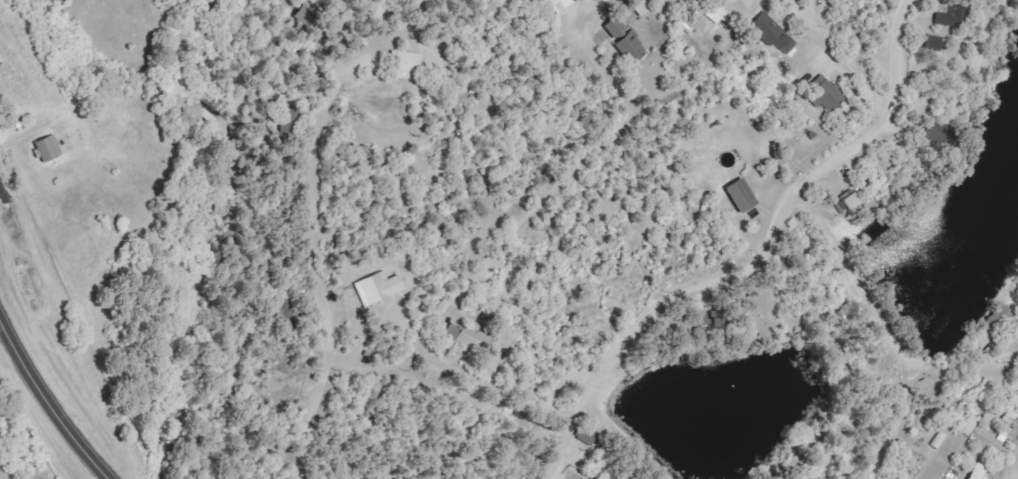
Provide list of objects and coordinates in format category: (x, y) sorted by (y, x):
building: (564, 4)
road: (838, 54)
building: (828, 97)
building: (53, 148)
building: (746, 195)
road: (313, 220)
road: (513, 243)
road: (749, 259)
road: (858, 279)
building: (383, 287)
road: (975, 367)
road: (49, 400)
road: (903, 421)
road: (459, 444)
building: (983, 471)

